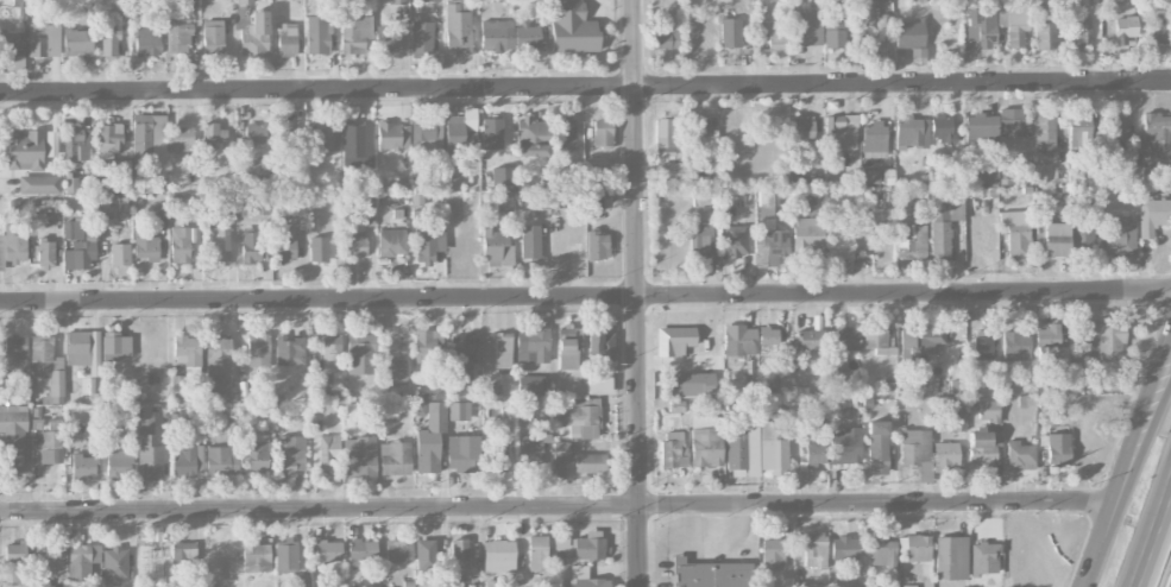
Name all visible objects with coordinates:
building: (424, 0)
building: (244, 1)
building: (397, 1)
building: (188, 2)
building: (20, 7)
building: (1014, 23)
building: (1120, 25)
building: (1156, 25)
building: (573, 27)
building: (981, 27)
building: (1044, 27)
building: (457, 29)
building: (806, 29)
building: (1078, 30)
building: (833, 31)
building: (355, 32)
building: (730, 32)
building: (316, 34)
building: (497, 34)
building: (908, 34)
building: (254, 36)
building: (212, 37)
building: (527, 37)
building: (177, 38)
building: (421, 38)
building: (777, 38)
building: (43, 39)
building: (285, 39)
building: (385, 39)
building: (667, 39)
building: (76, 40)
building: (109, 43)
building: (146, 43)
building: (11, 46)
road: (585, 88)
building: (1011, 122)
building: (697, 127)
building: (802, 128)
building: (942, 128)
building: (1120, 130)
building: (912, 131)
building: (424, 132)
building: (460, 132)
building: (841, 132)
building: (254, 133)
building: (491, 133)
building: (602, 133)
building: (1044, 133)
building: (1078, 133)
building: (1156, 133)
building: (287, 134)
building: (566, 134)
building: (388, 135)
building: (213, 137)
building: (321, 137)
building: (531, 137)
building: (663, 137)
building: (874, 137)
building: (180, 138)
building: (109, 139)
building: (51, 143)
building: (150, 143)
building: (355, 143)
building: (76, 144)
building: (24, 150)
building: (262, 168)
building: (669, 170)
building: (984, 173)
building: (1019, 175)
building: (502, 176)
building: (870, 176)
building: (115, 177)
building: (598, 178)
building: (38, 184)
building: (700, 197)
building: (416, 198)
building: (536, 200)
building: (504, 202)
building: (593, 203)
building: (764, 206)
building: (804, 206)
building: (366, 209)
building: (1151, 215)
building: (945, 225)
building: (882, 231)
building: (1016, 233)
building: (1081, 233)
building: (807, 234)
building: (1119, 236)
building: (1053, 239)
building: (699, 240)
building: (529, 241)
building: (735, 241)
building: (911, 241)
building: (391, 242)
building: (178, 244)
building: (428, 244)
building: (492, 244)
building: (12, 245)
building: (77, 245)
building: (597, 245)
building: (216, 246)
building: (250, 246)
building: (354, 246)
building: (769, 246)
building: (841, 246)
building: (146, 247)
building: (317, 248)
building: (284, 250)
building: (45, 252)
building: (119, 254)
road: (637, 292)
road: (585, 297)
building: (846, 339)
building: (874, 339)
building: (674, 340)
building: (768, 340)
building: (1101, 340)
building: (808, 341)
building: (915, 341)
building: (738, 343)
building: (600, 345)
building: (982, 345)
building: (115, 346)
building: (329, 346)
building: (531, 346)
building: (1015, 346)
building: (1050, 346)
building: (76, 348)
building: (257, 349)
building: (289, 349)
building: (503, 349)
building: (565, 349)
building: (428, 351)
building: (13, 353)
building: (359, 353)
building: (188, 354)
building: (218, 356)
building: (460, 358)
building: (46, 366)
building: (392, 371)
building: (837, 375)
building: (333, 379)
building: (533, 384)
building: (692, 384)
building: (1059, 384)
building: (177, 385)
building: (598, 385)
building: (492, 391)
building: (459, 411)
building: (353, 417)
building: (581, 418)
building: (144, 419)
building: (955, 419)
building: (109, 424)
building: (986, 435)
building: (430, 438)
building: (12, 440)
building: (530, 446)
building: (844, 446)
road: (1144, 446)
building: (50, 447)
building: (706, 447)
building: (876, 447)
building: (742, 448)
building: (327, 449)
building: (673, 449)
building: (772, 449)
building: (1057, 449)
building: (915, 452)
building: (461, 453)
building: (814, 453)
building: (256, 455)
building: (290, 455)
building: (1020, 455)
building: (945, 456)
building: (150, 457)
building: (359, 457)
building: (498, 457)
road: (1123, 457)
building: (394, 459)
building: (560, 459)
building: (187, 461)
building: (220, 461)
building: (587, 462)
building: (119, 463)
building: (83, 466)
road: (554, 507)
road: (1152, 532)
building: (588, 547)
building: (844, 548)
building: (917, 548)
building: (814, 549)
building: (327, 550)
building: (183, 551)
building: (398, 551)
building: (361, 553)
building: (424, 553)
building: (537, 553)
building: (882, 553)
building: (772, 554)
building: (459, 555)
building: (285, 556)
building: (498, 556)
building: (256, 557)
building: (951, 557)
building: (983, 558)
building: (45, 561)
building: (82, 561)
building: (13, 562)
building: (114, 566)
building: (712, 574)
building: (300, 581)
building: (591, 582)
building: (908, 586)

